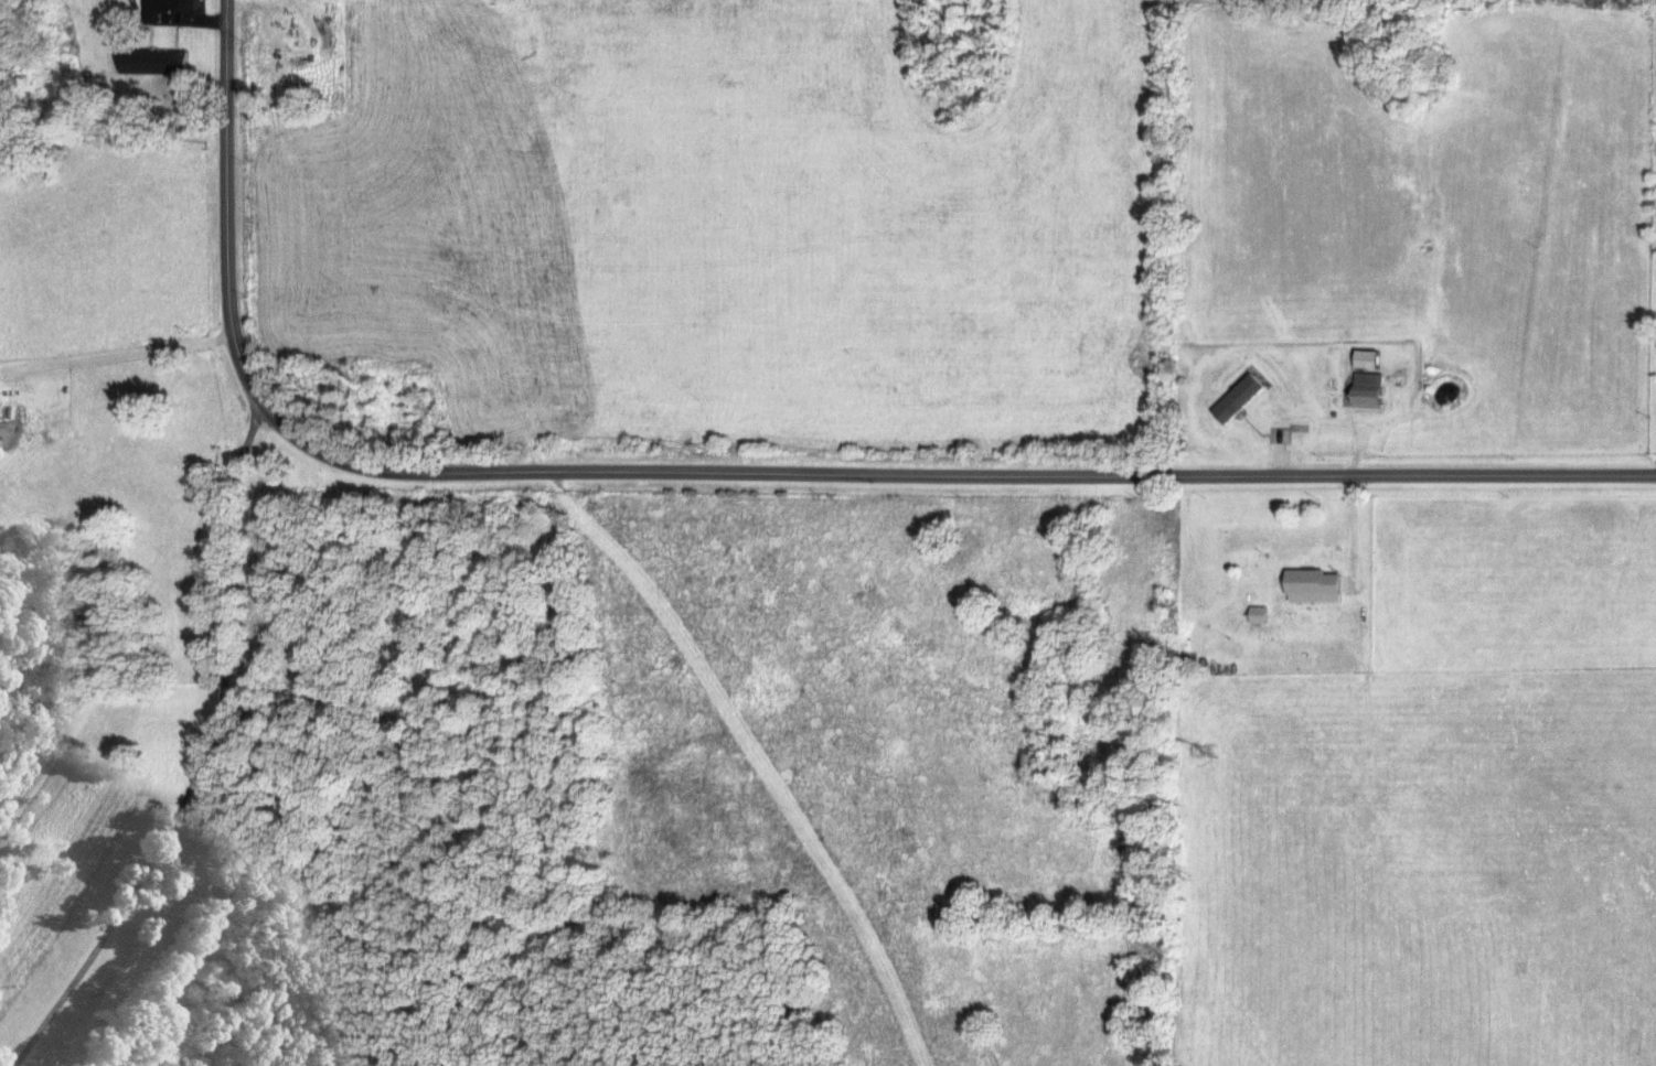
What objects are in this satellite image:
road: (226, 46)
building: (159, 62)
road: (116, 351)
building: (1371, 358)
building: (1371, 390)
building: (1241, 398)
road: (1351, 430)
road: (790, 470)
road: (1479, 500)
road: (1183, 540)
building: (1318, 585)
road: (205, 755)

